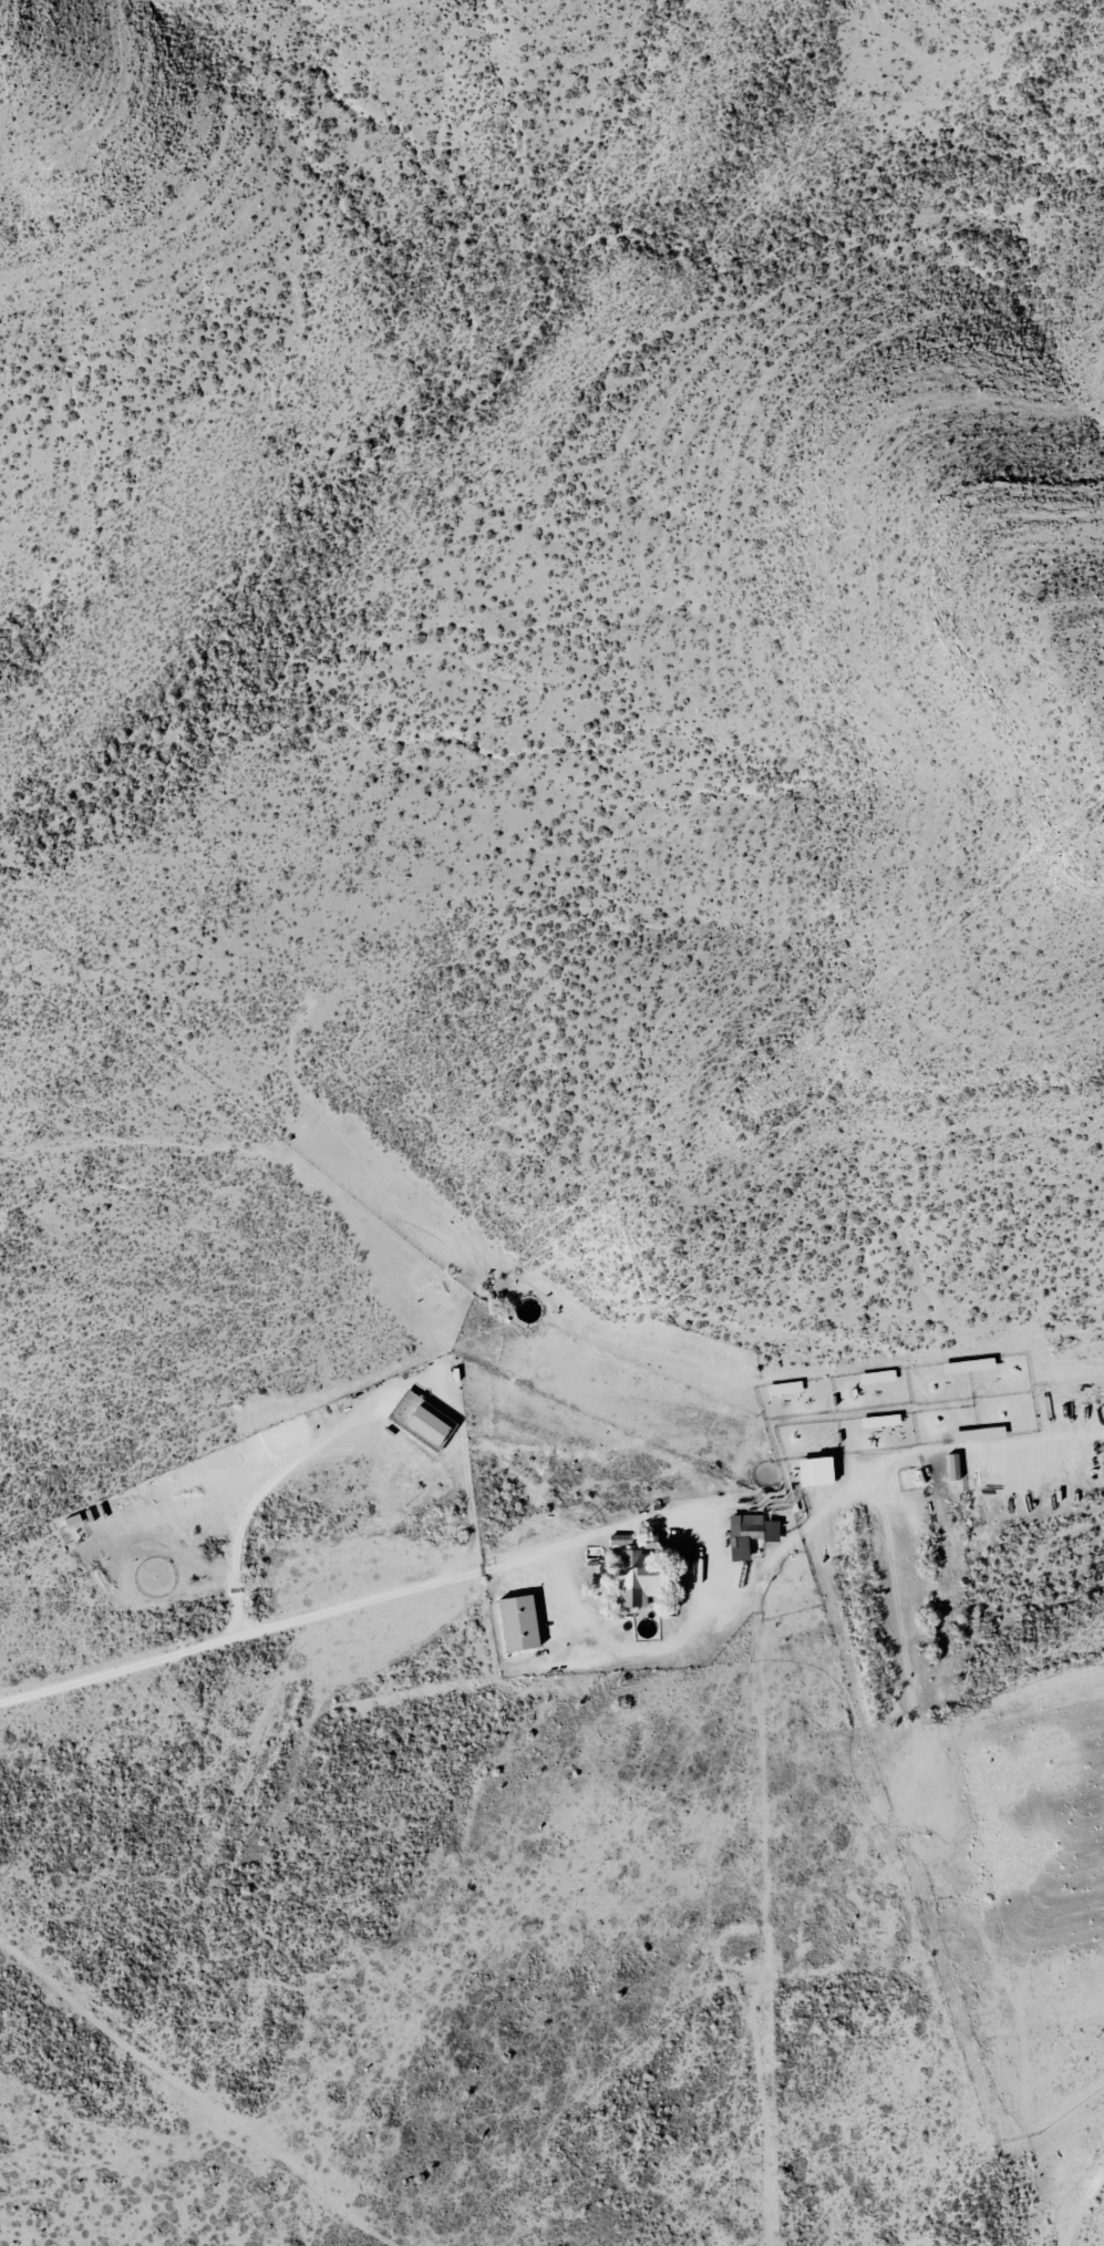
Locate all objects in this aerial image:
building: (812, 1464)
building: (749, 1526)
building: (647, 1538)
building: (618, 1539)
building: (677, 1560)
building: (633, 1579)
building: (524, 1595)
road: (246, 1634)
road: (1084, 2216)

